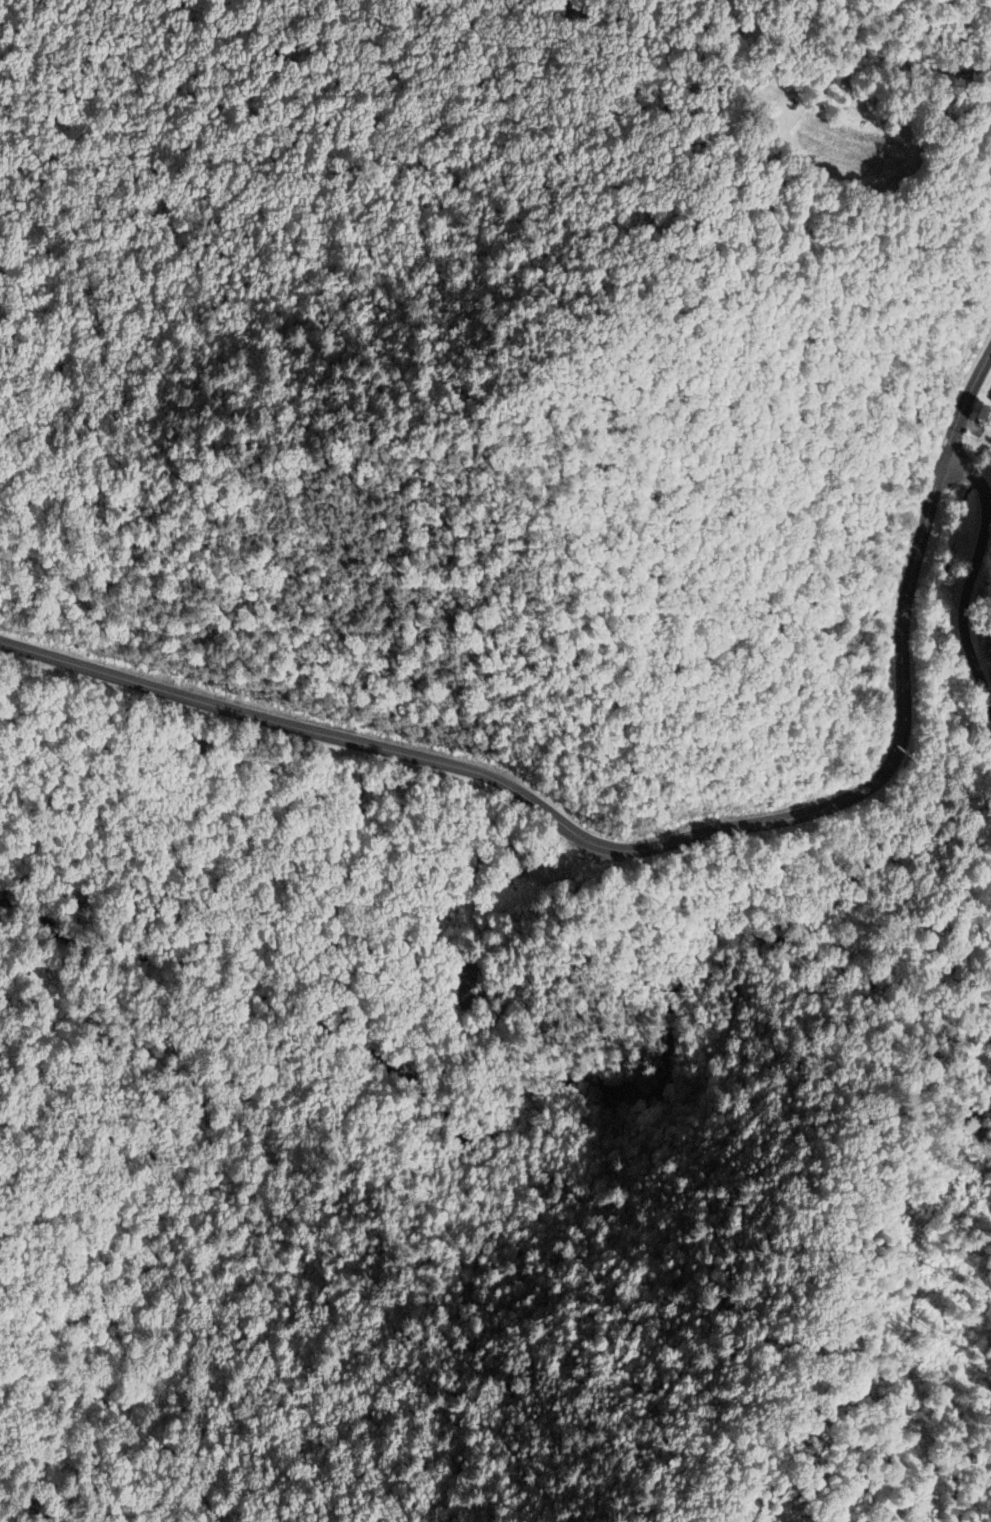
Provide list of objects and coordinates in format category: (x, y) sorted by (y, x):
road: (974, 566)
road: (651, 847)

